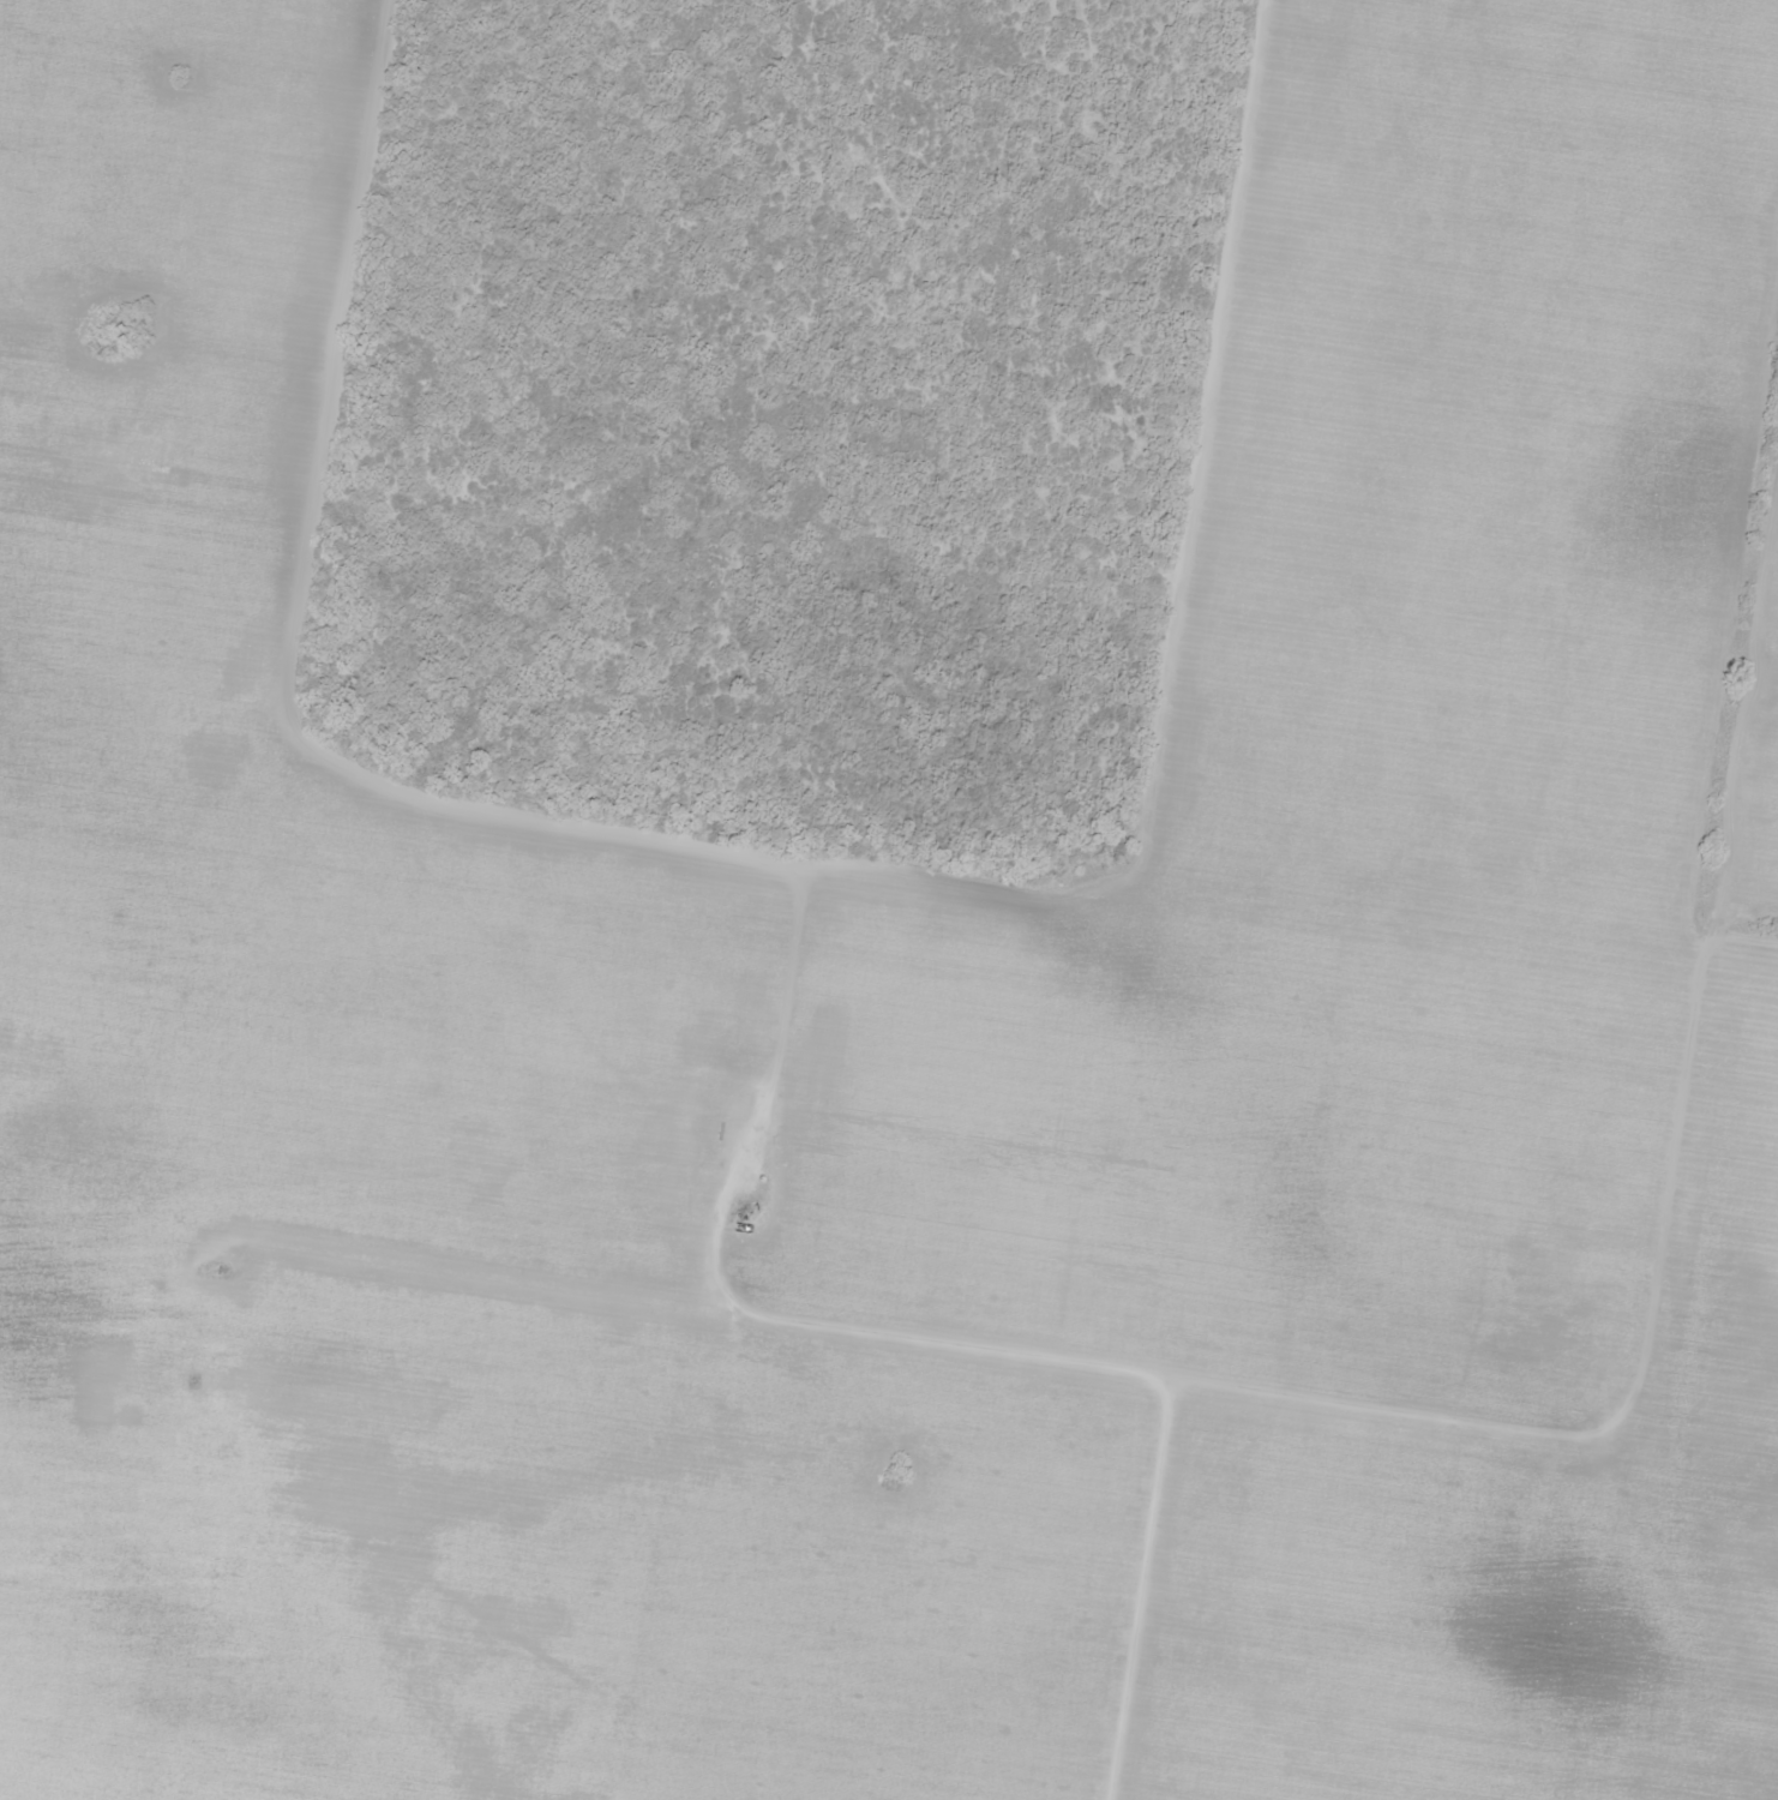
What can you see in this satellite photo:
road: (92, 133)
road: (1028, 895)
road: (902, 1339)
road: (954, 1444)
road: (1704, 1609)

